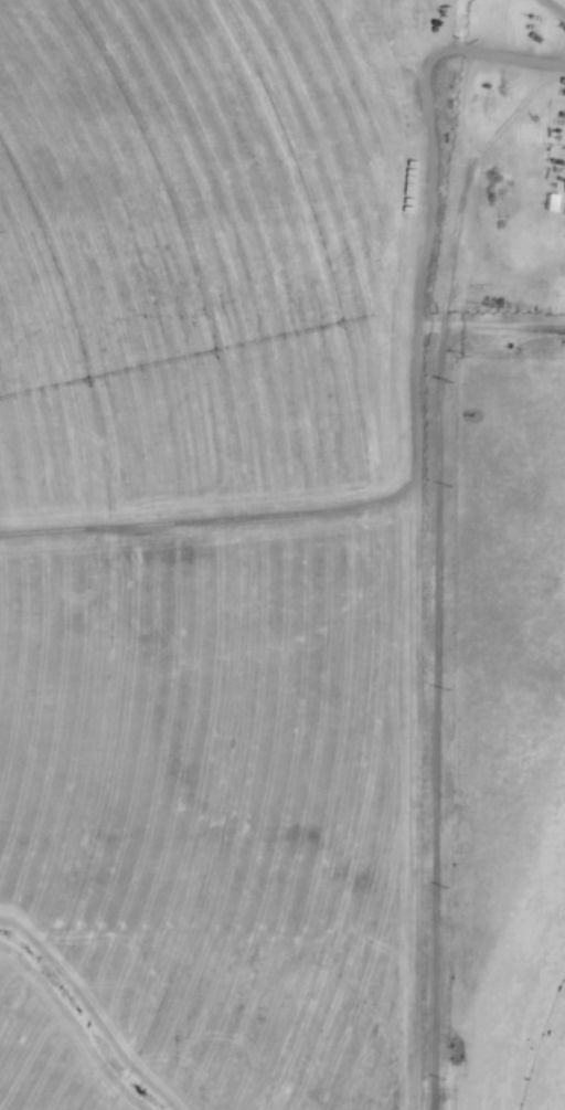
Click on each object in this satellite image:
crop: (394, 35)
road: (446, 154)
building: (553, 201)
building: (563, 202)
road: (523, 321)
crop: (203, 553)
road: (435, 717)
crop: (519, 982)

